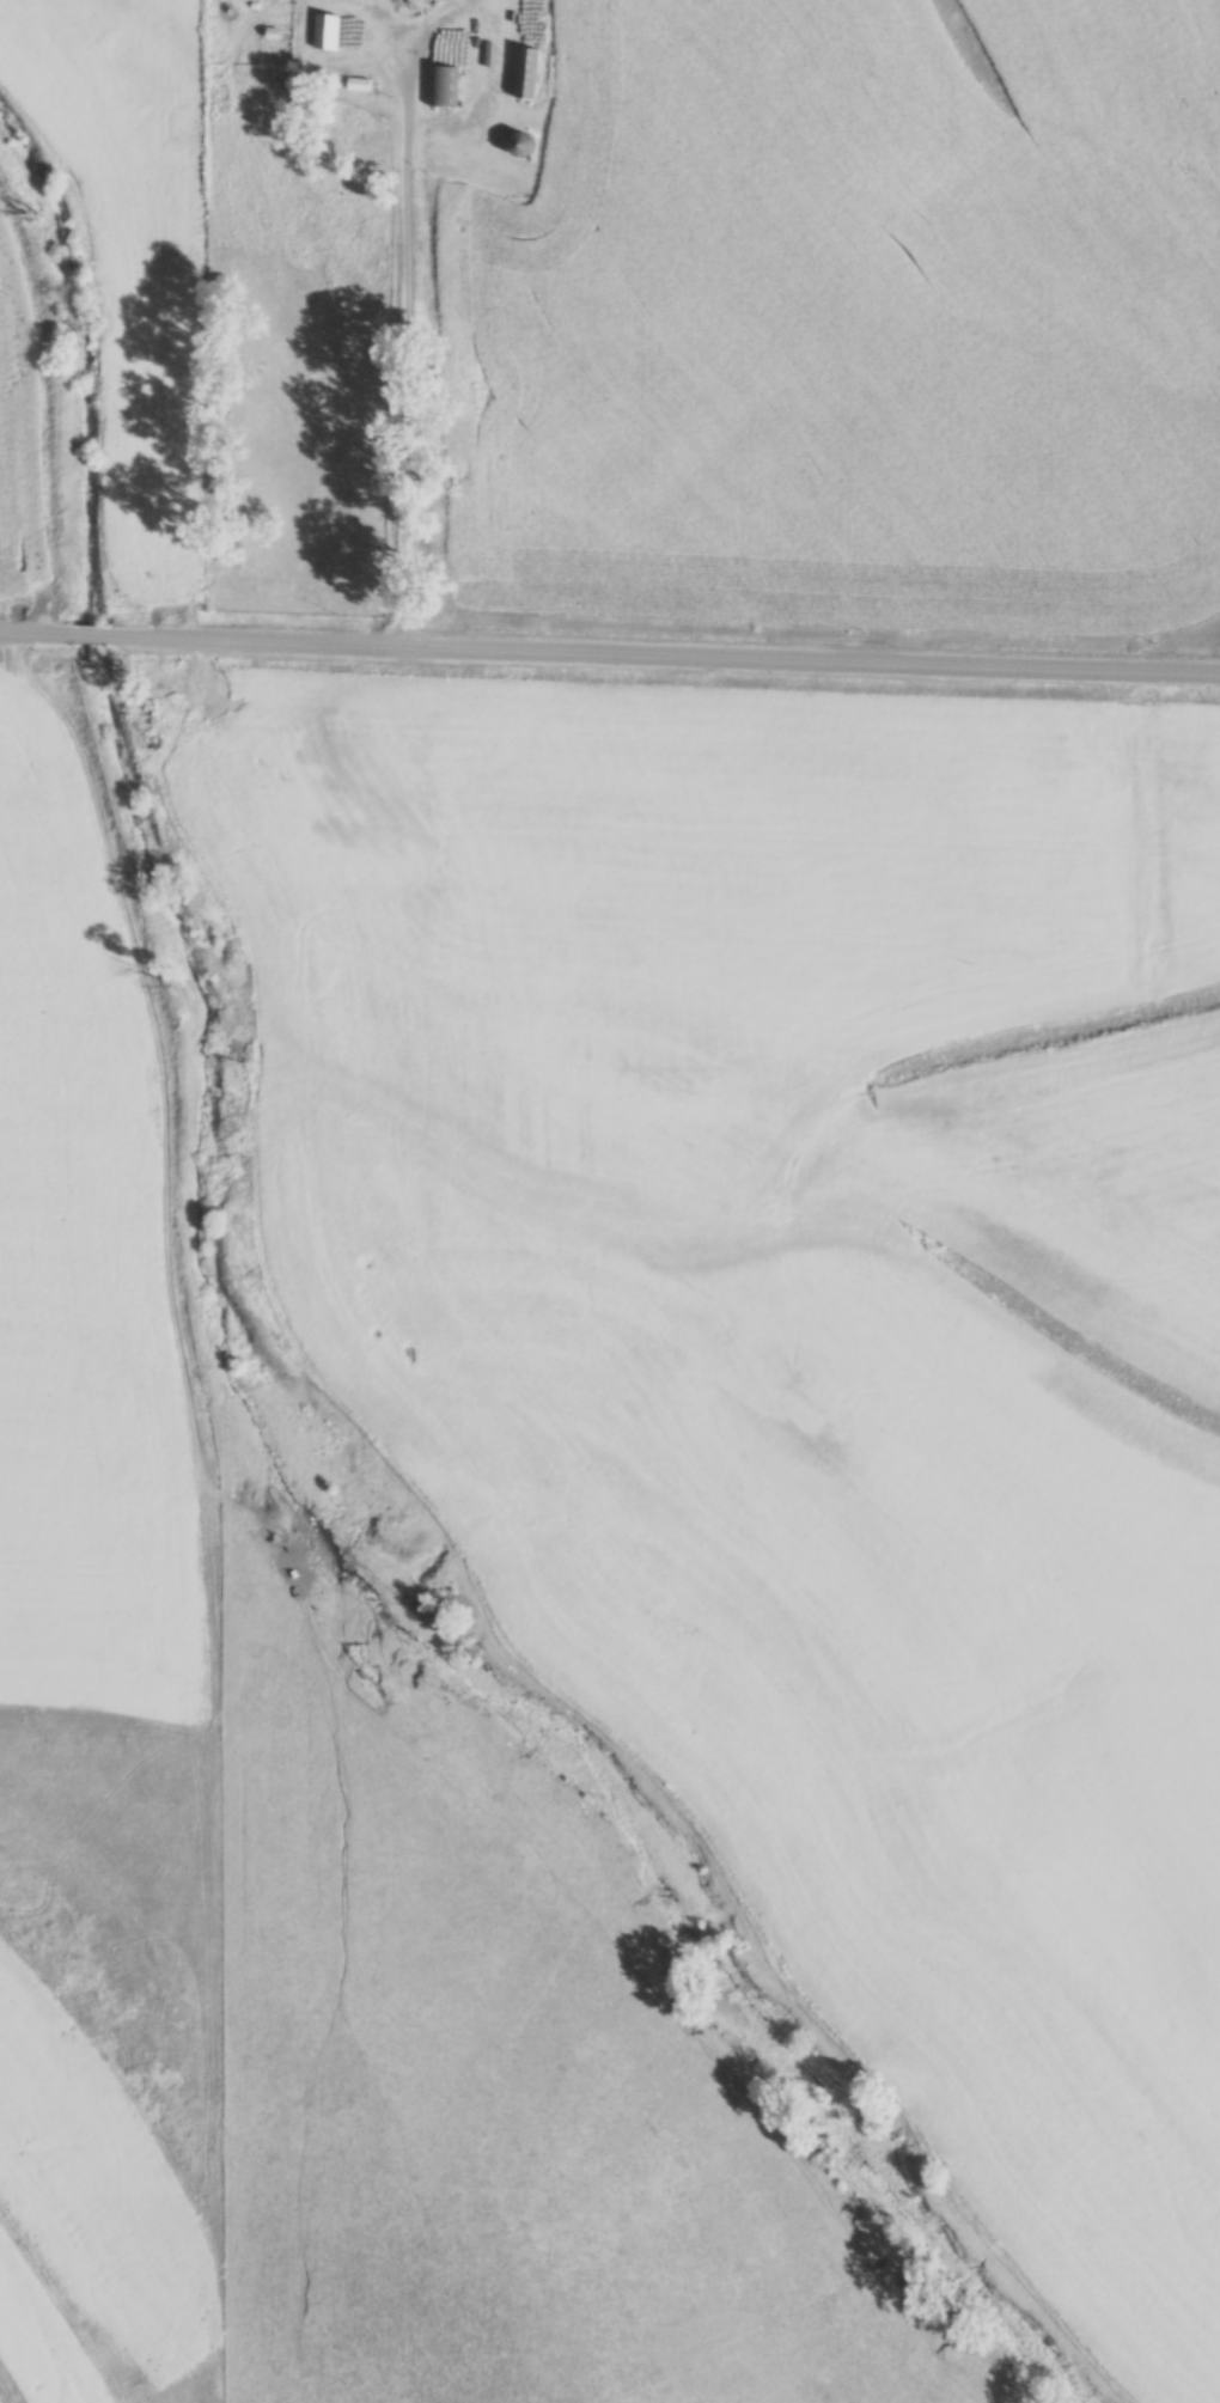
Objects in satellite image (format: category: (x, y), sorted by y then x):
building: (322, 26)
building: (523, 69)
building: (355, 74)
building: (439, 81)
building: (353, 121)
building: (516, 140)
road: (401, 434)
road: (37, 635)
road: (87, 638)
road: (659, 653)

